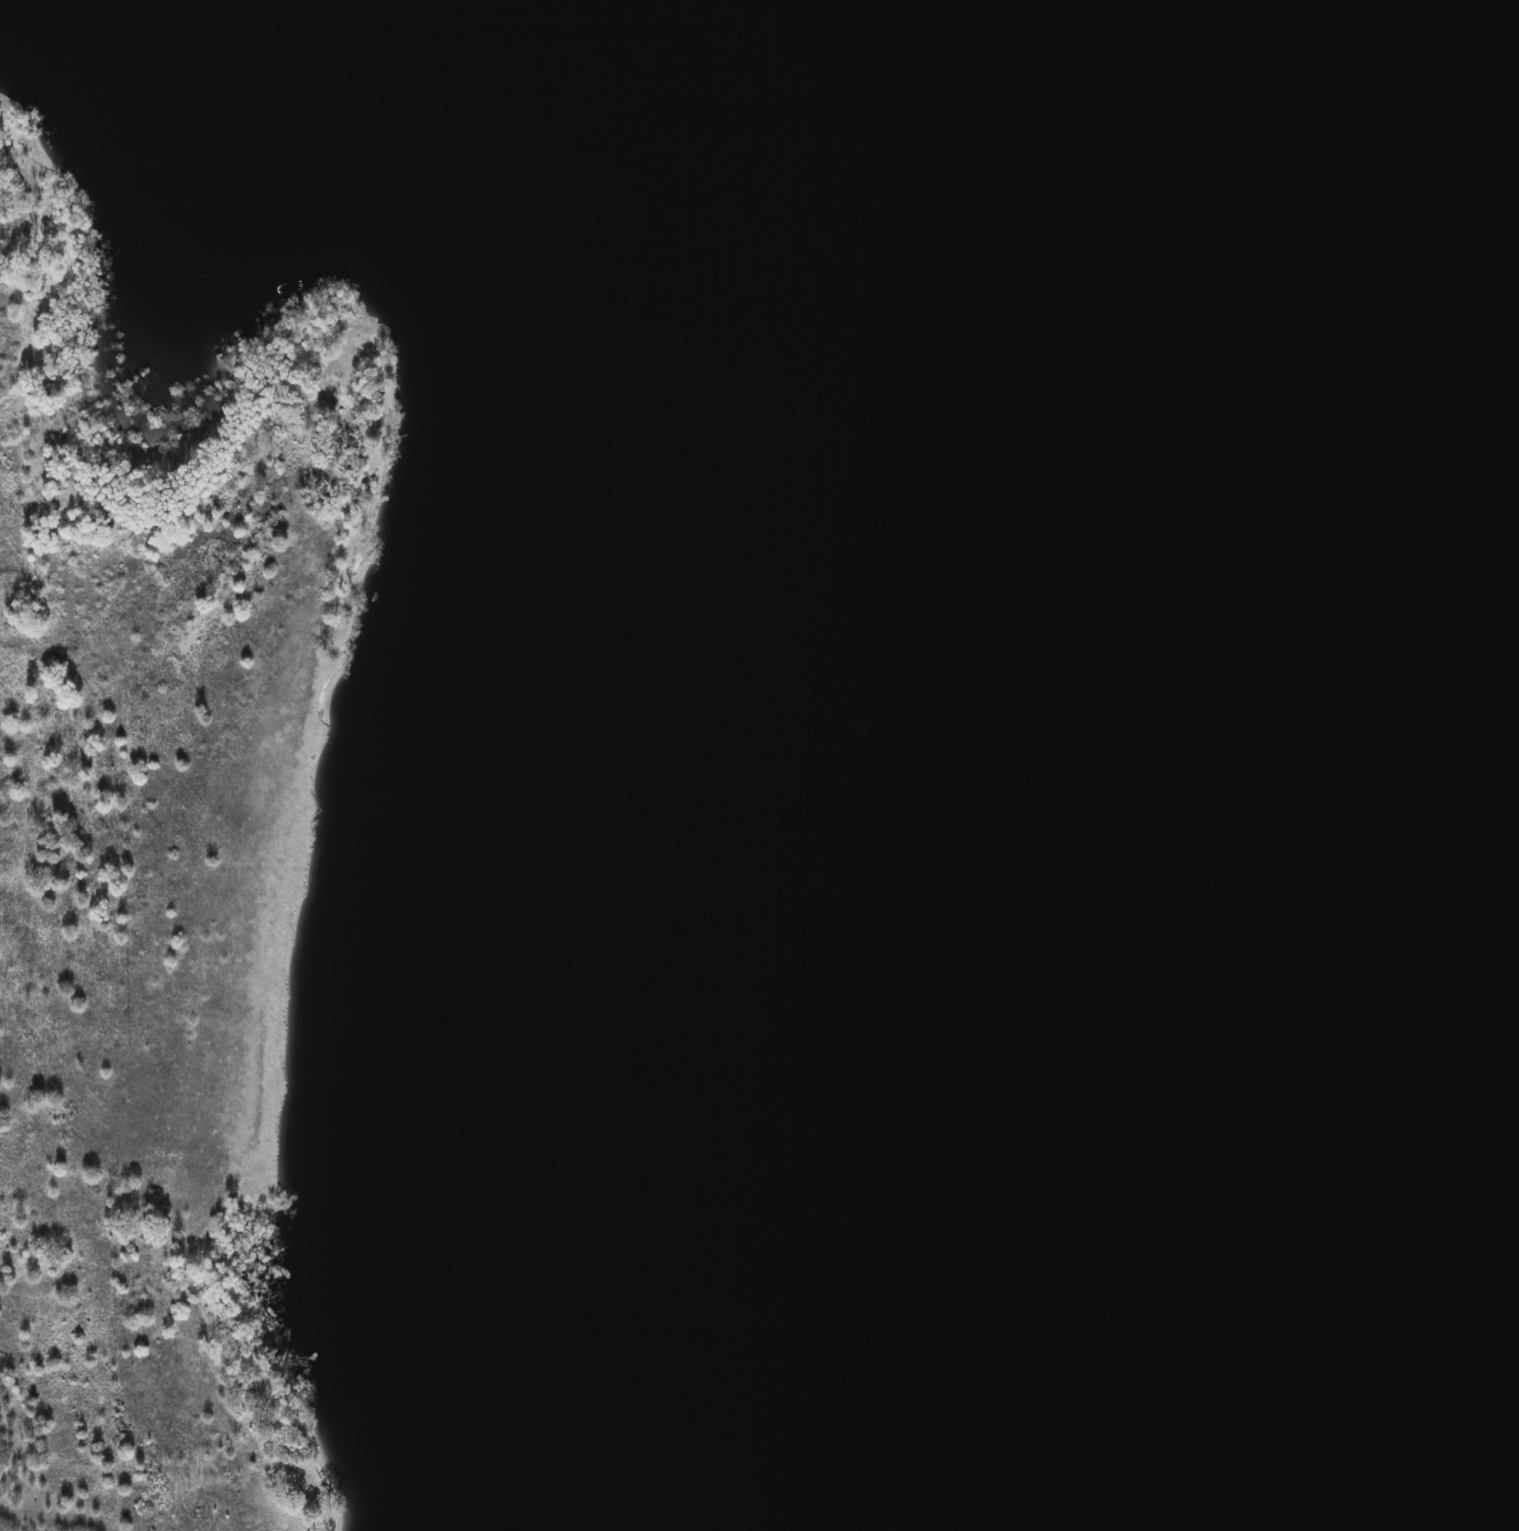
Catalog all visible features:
park: (164, 885)

